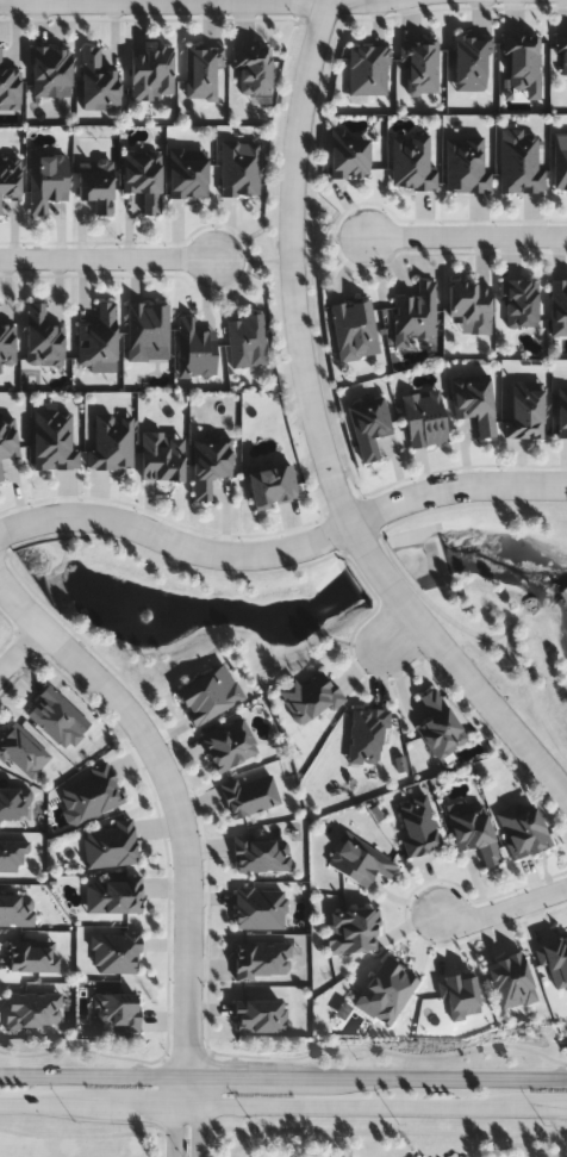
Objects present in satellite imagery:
road: (193, 5)
building: (562, 58)
building: (471, 63)
building: (522, 63)
building: (418, 66)
building: (49, 69)
building: (251, 70)
building: (200, 71)
building: (150, 74)
building: (96, 82)
building: (8, 88)
building: (348, 156)
building: (560, 162)
building: (410, 163)
building: (518, 163)
building: (463, 164)
building: (238, 169)
building: (187, 174)
building: (142, 179)
building: (8, 181)
building: (45, 182)
building: (95, 185)
road: (467, 236)
road: (107, 257)
building: (518, 301)
building: (469, 304)
building: (557, 307)
building: (415, 312)
building: (353, 330)
building: (145, 332)
building: (98, 337)
building: (40, 338)
building: (243, 338)
building: (6, 344)
building: (193, 350)
building: (474, 403)
building: (524, 411)
building: (561, 413)
building: (423, 418)
building: (367, 427)
road: (317, 437)
building: (7, 438)
building: (52, 440)
building: (110, 443)
building: (161, 456)
building: (208, 465)
building: (0, 478)
building: (272, 487)
road: (283, 549)
road: (398, 632)
road: (20, 648)
building: (208, 692)
building: (309, 695)
building: (57, 716)
building: (440, 723)
building: (366, 734)
building: (21, 748)
building: (13, 804)
road: (176, 808)
building: (418, 826)
building: (522, 827)
building: (474, 831)
building: (260, 852)
building: (12, 856)
building: (360, 859)
building: (113, 892)
building: (15, 906)
road: (504, 907)
building: (353, 928)
building: (32, 954)
building: (261, 959)
building: (32, 1008)
building: (117, 1008)
building: (261, 1013)
road: (283, 1072)
road: (185, 1101)
road: (283, 1102)

